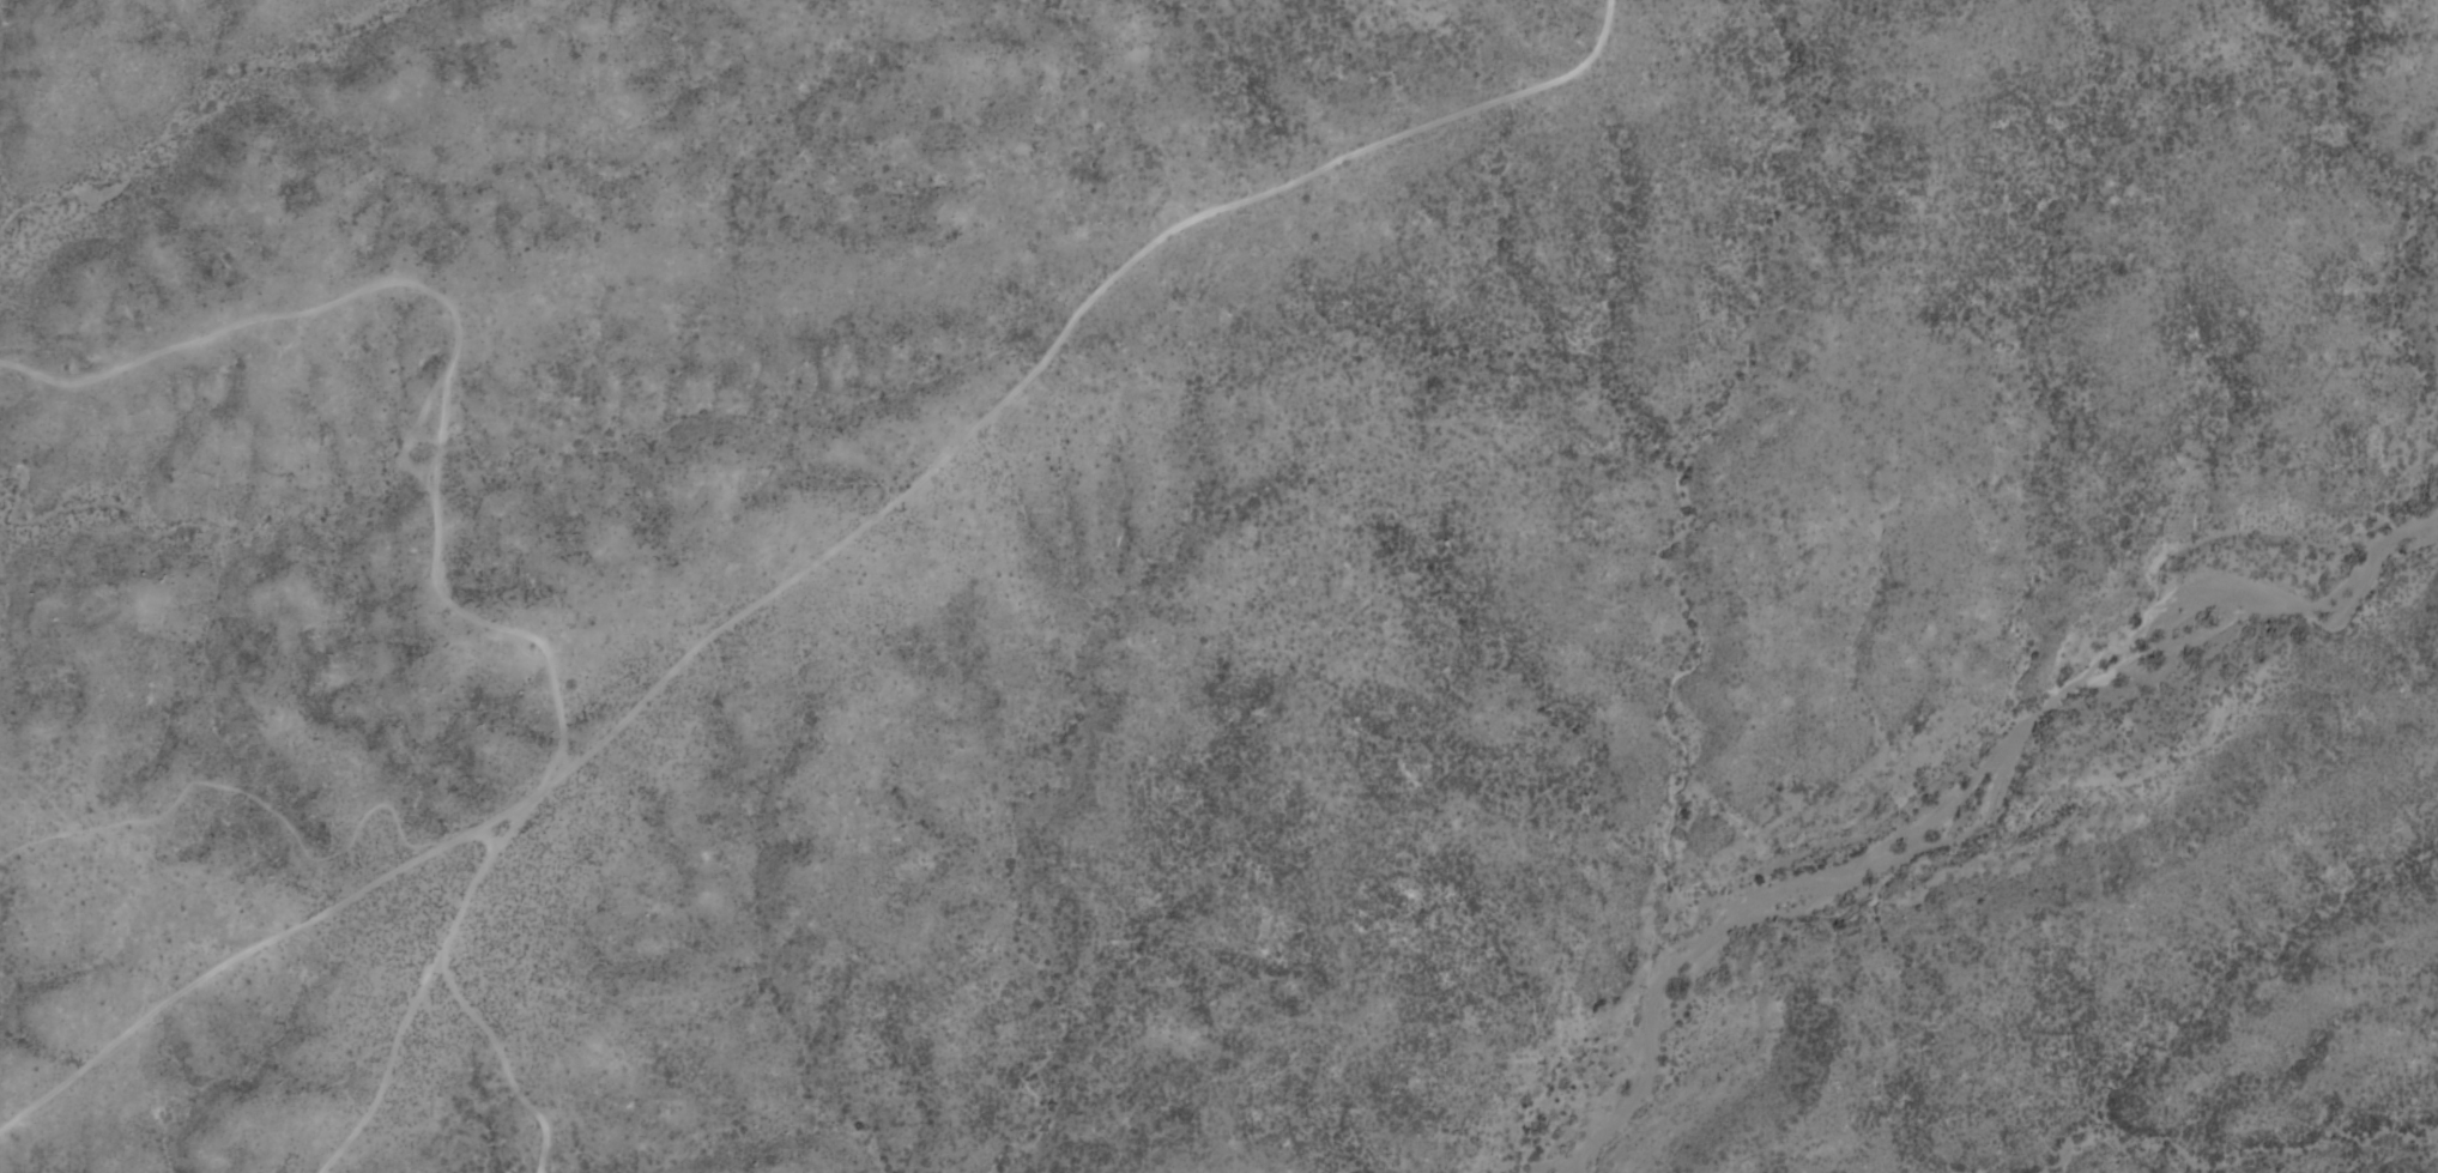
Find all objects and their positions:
road: (817, 558)
road: (484, 839)
road: (425, 973)
road: (504, 1066)

